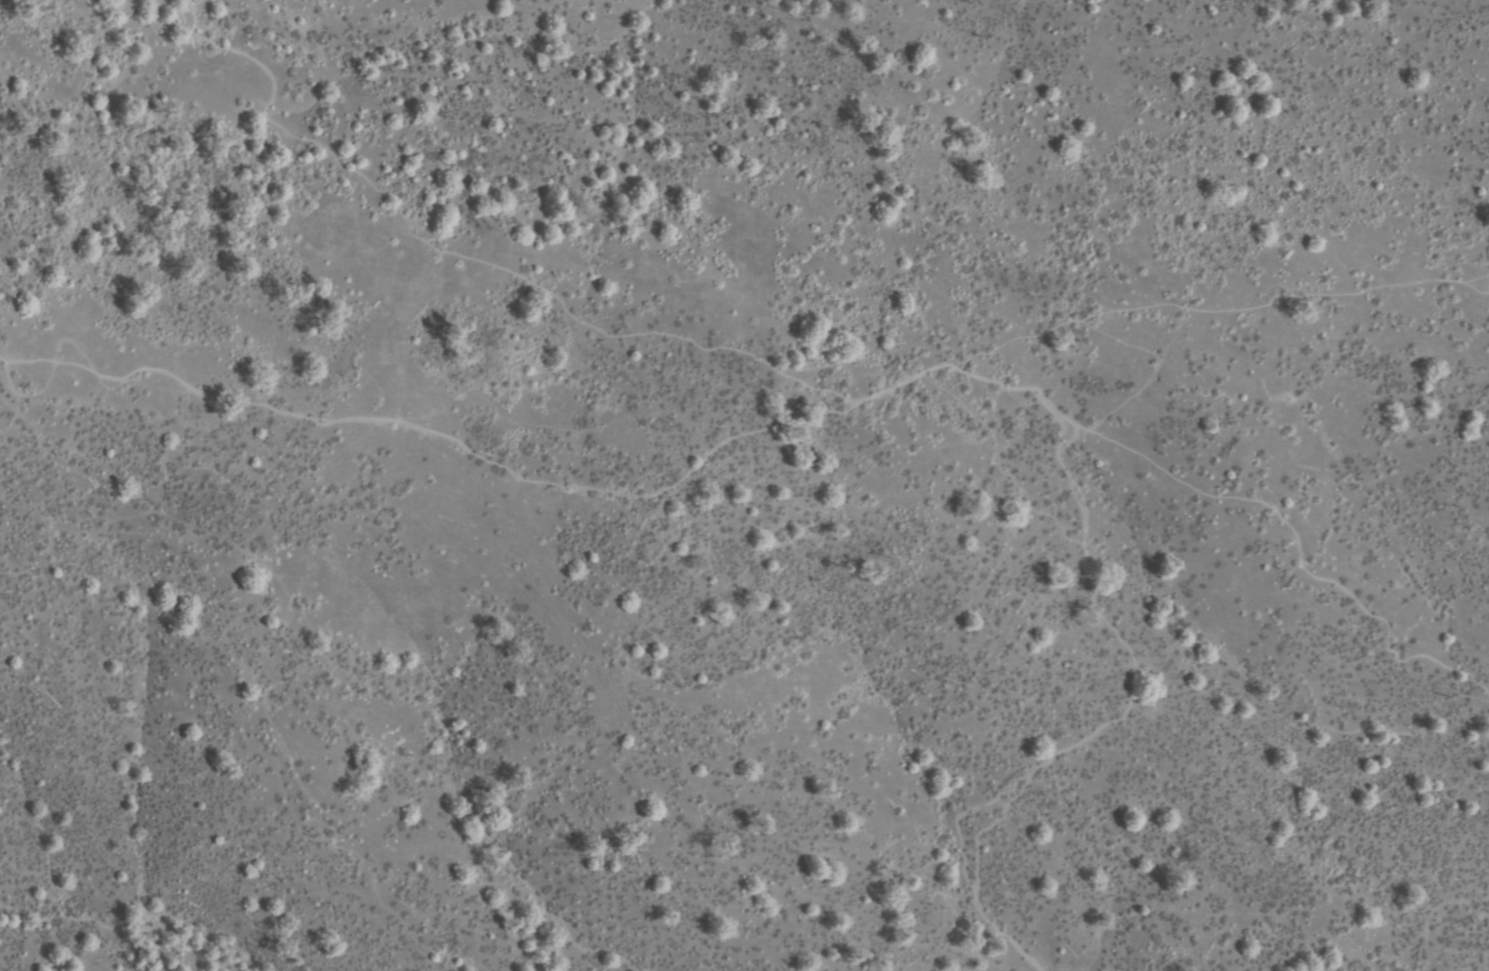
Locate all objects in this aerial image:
road: (821, 416)

